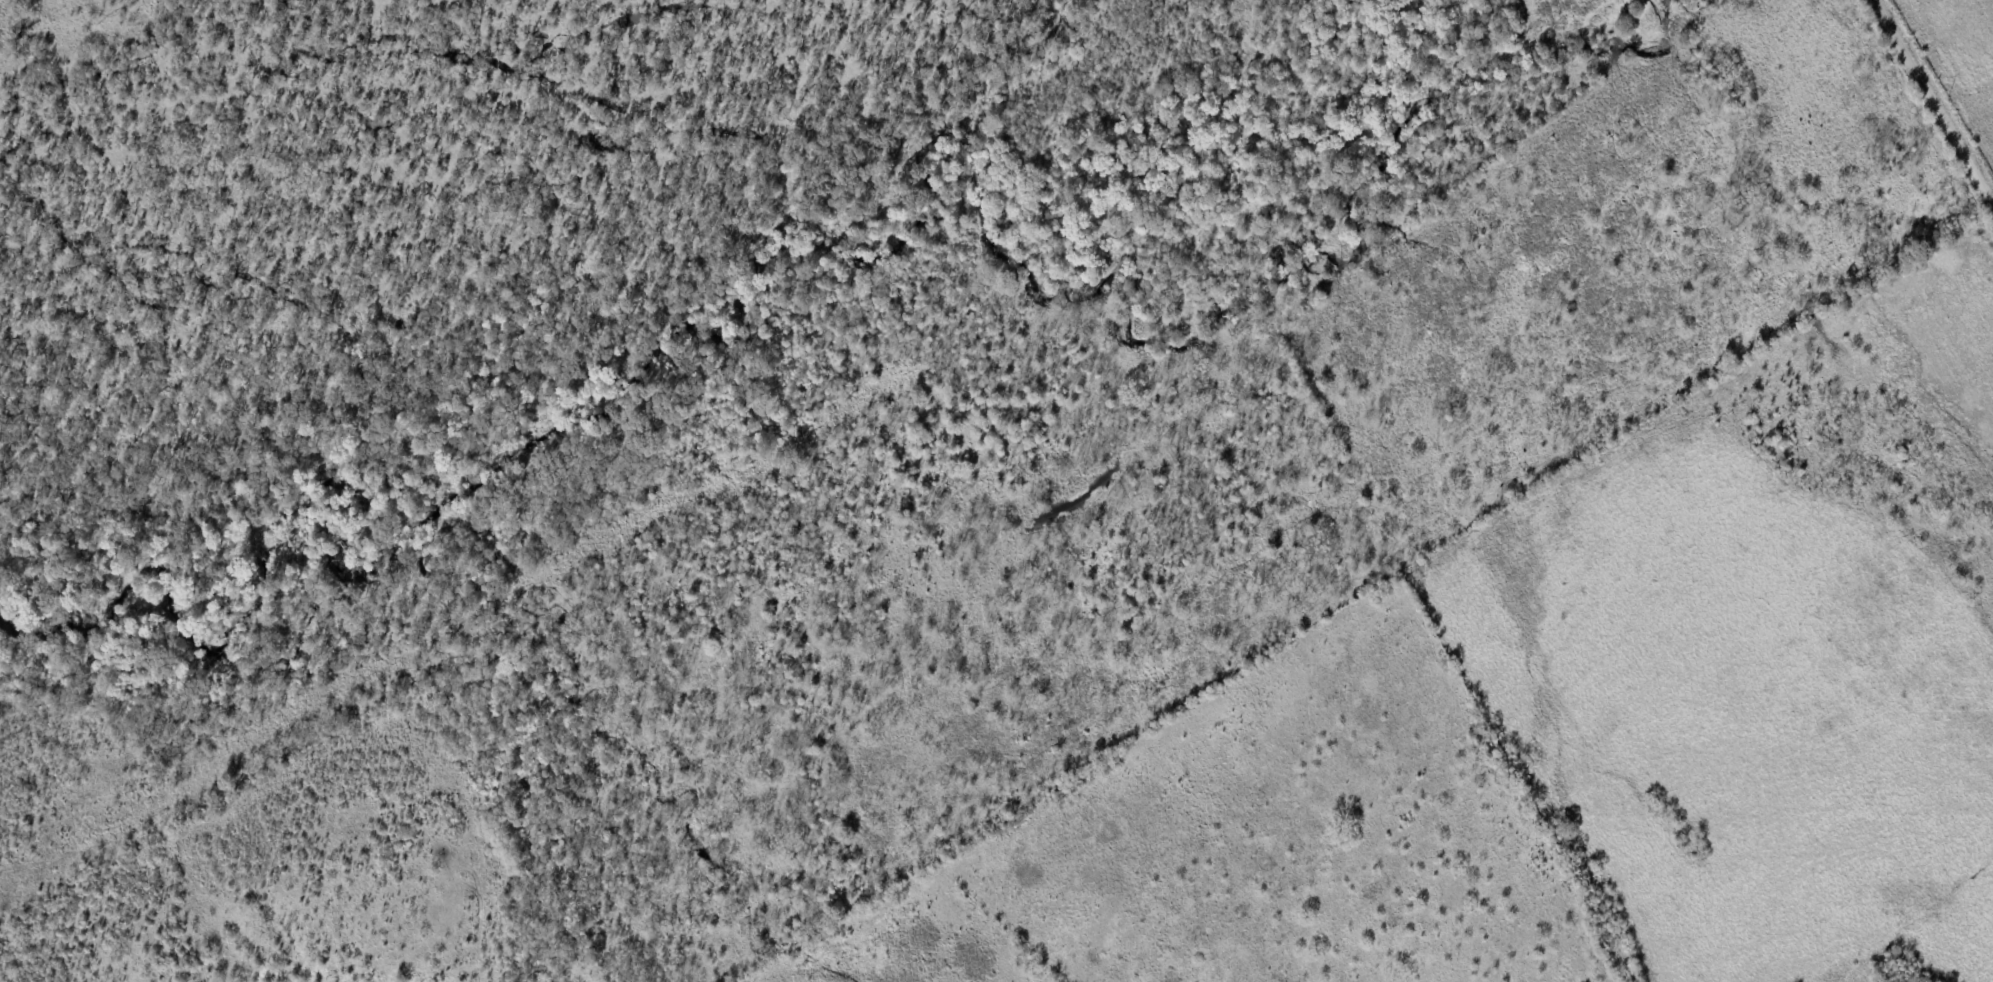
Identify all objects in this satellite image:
road: (1937, 94)

